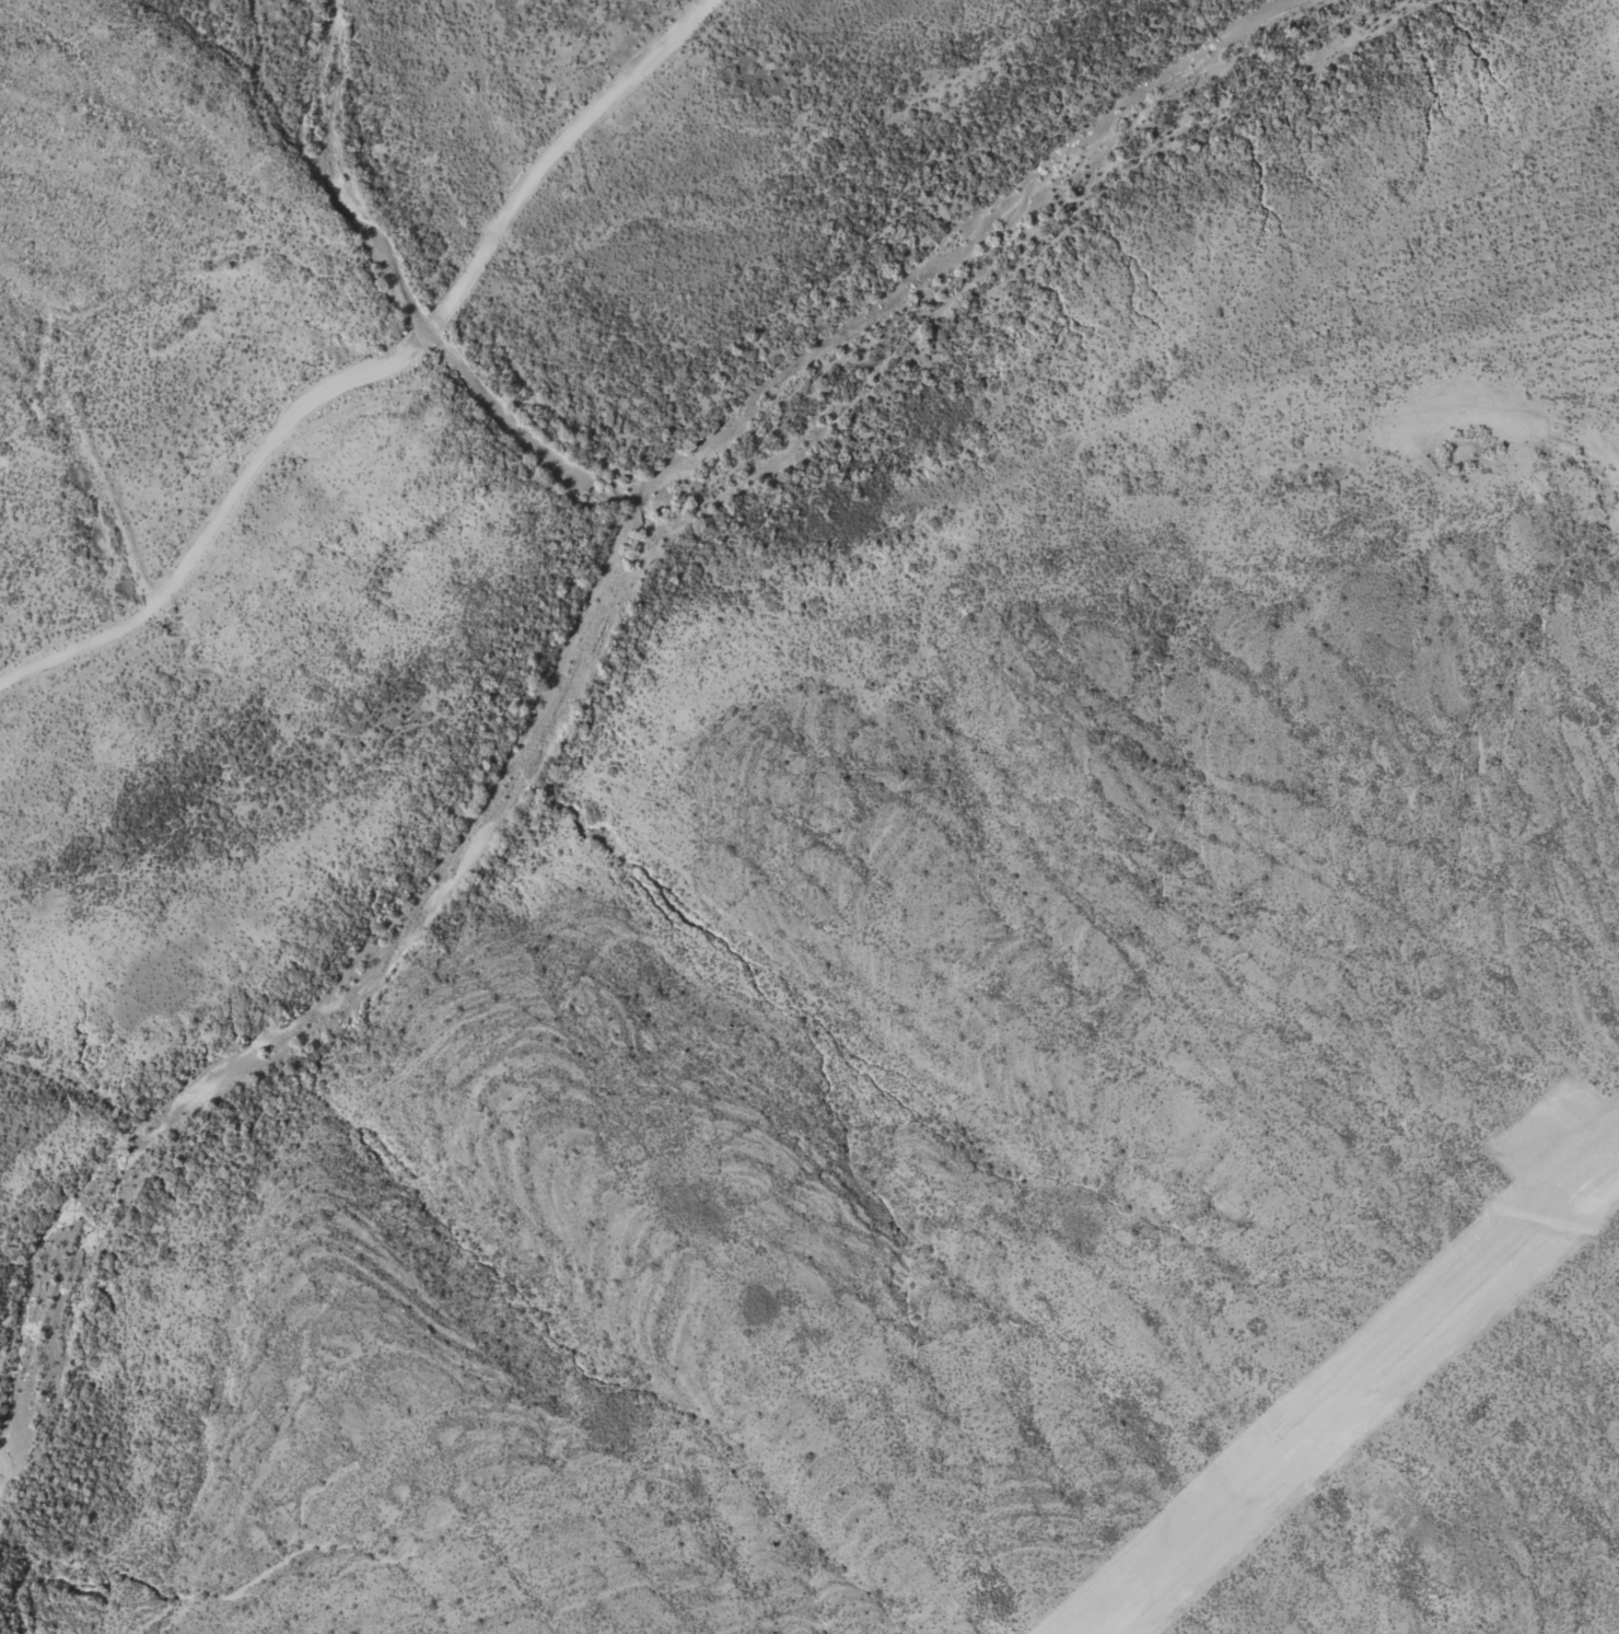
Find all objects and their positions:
road: (411, 392)

